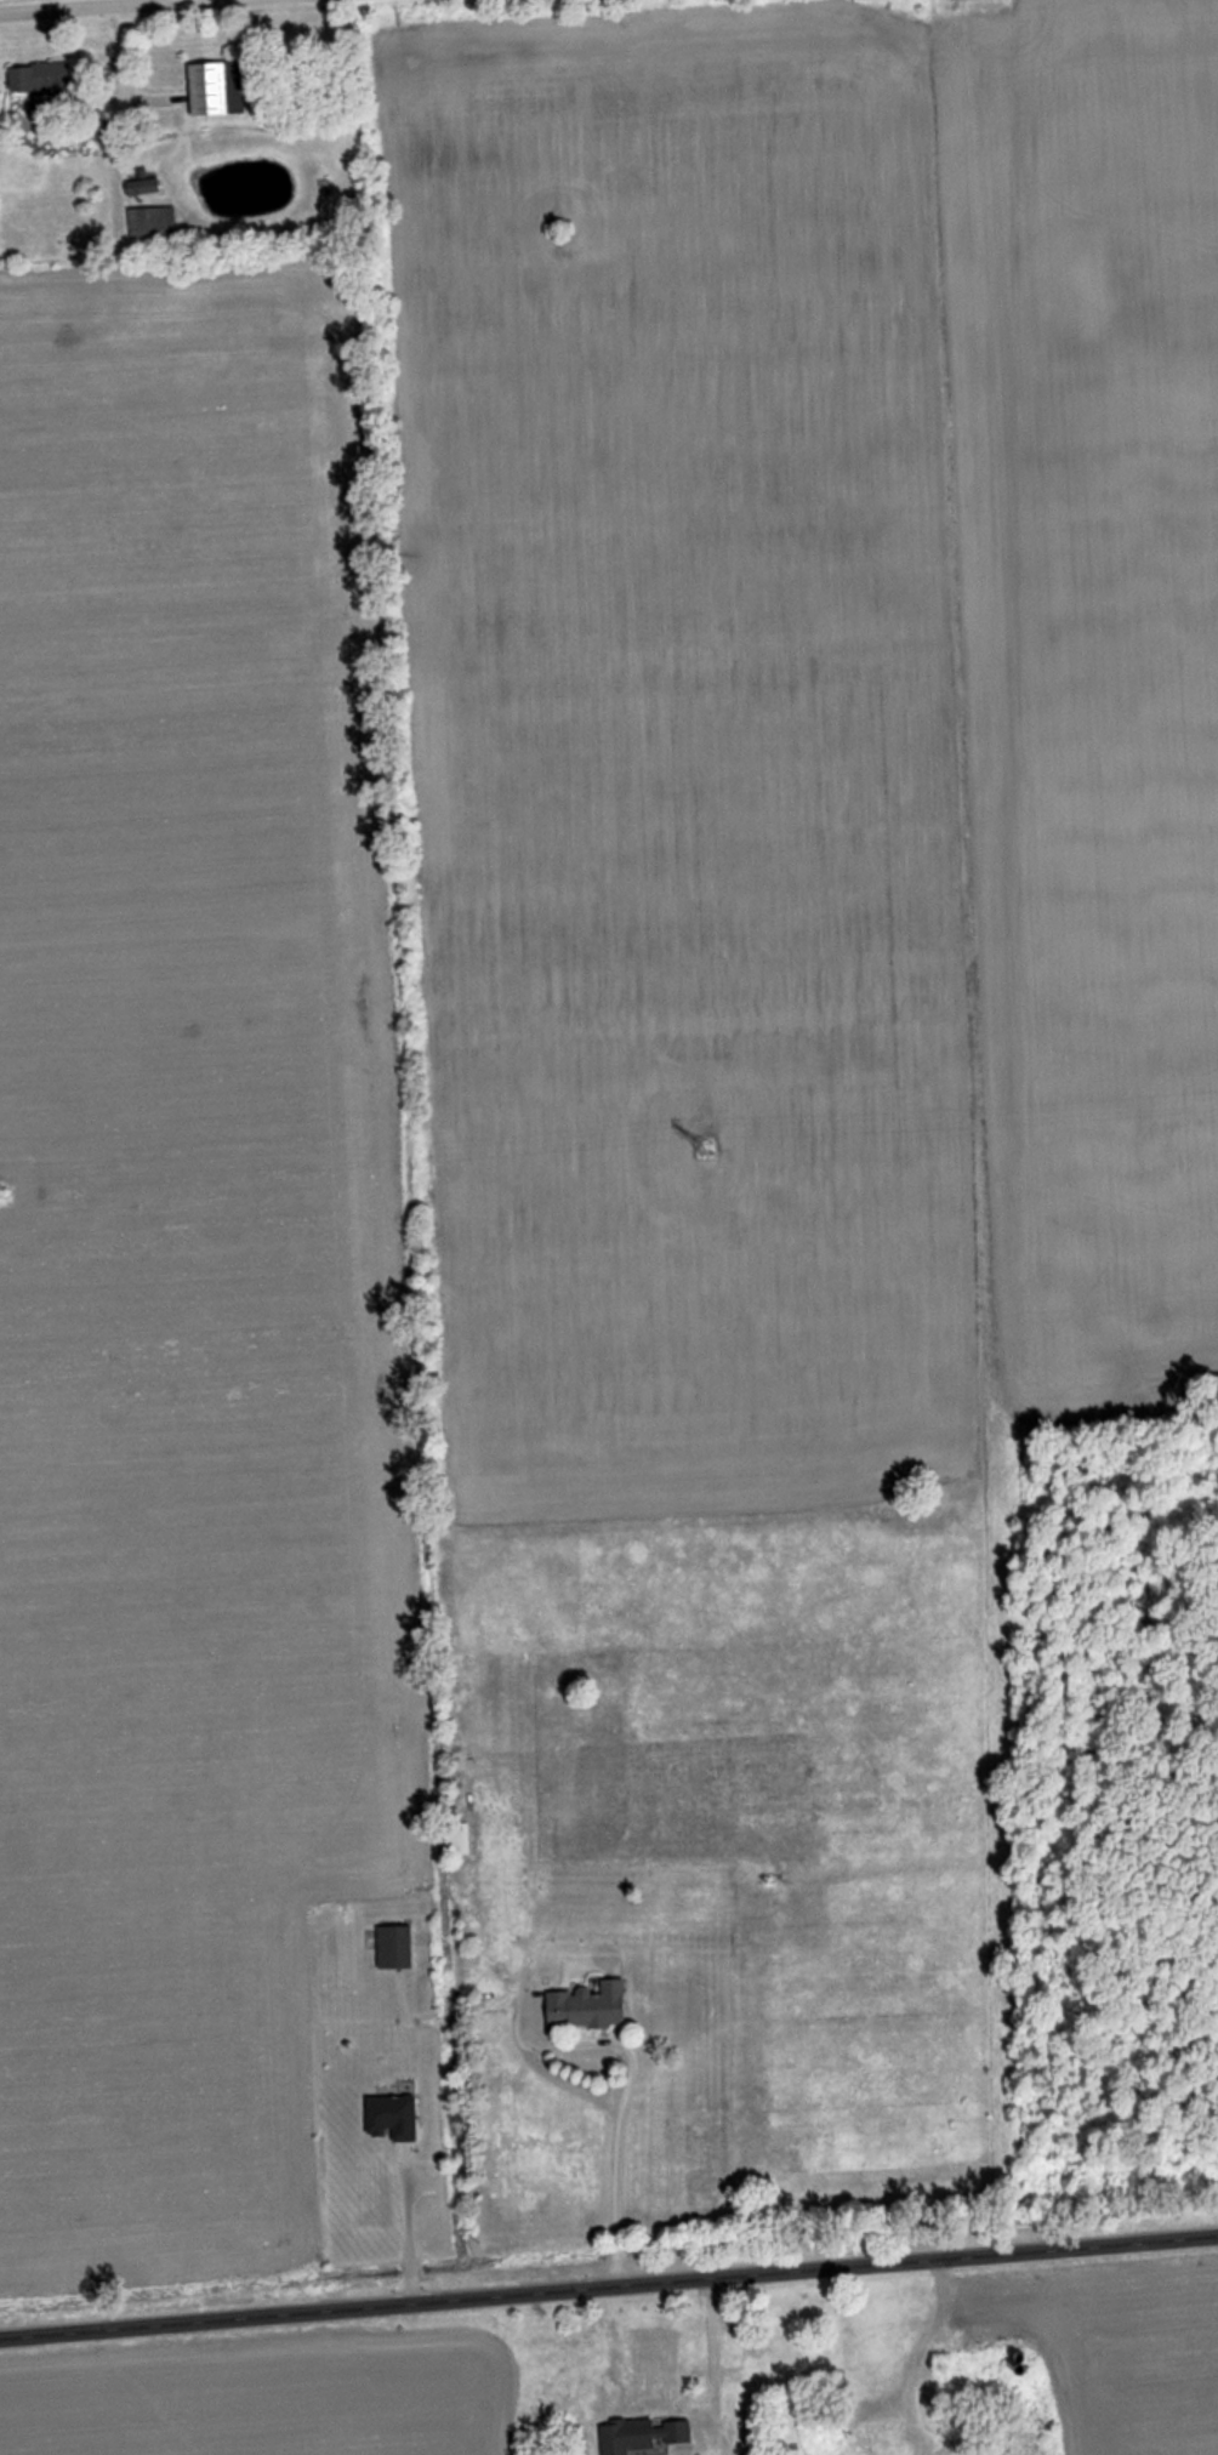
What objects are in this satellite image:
road: (116, 6)
building: (39, 76)
building: (215, 87)
building: (142, 186)
building: (152, 221)
power tower: (704, 1143)
power tower: (1, 1191)
building: (457, 1836)
building: (392, 1944)
building: (586, 2005)
road: (631, 2057)
building: (389, 2115)
road: (410, 2227)
road: (609, 2294)
road: (716, 2360)
building: (641, 2433)

